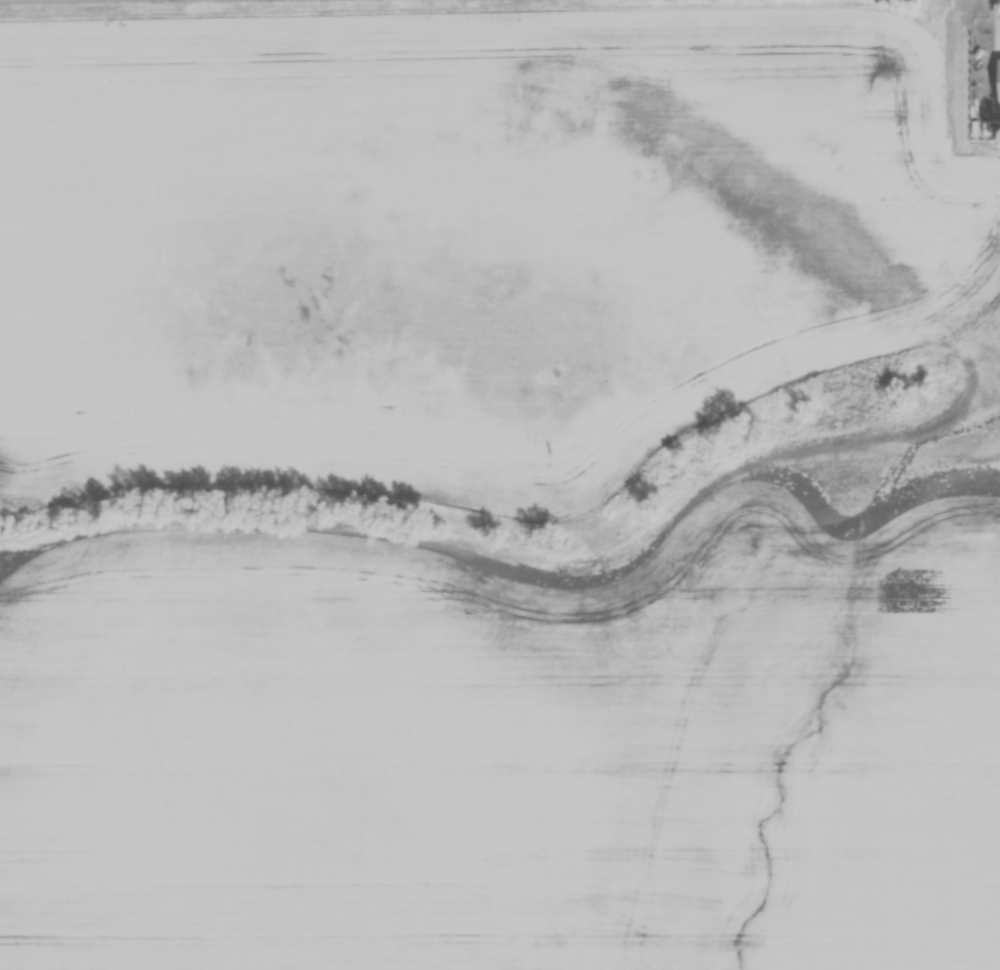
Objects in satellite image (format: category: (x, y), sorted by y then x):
building: (982, 35)

